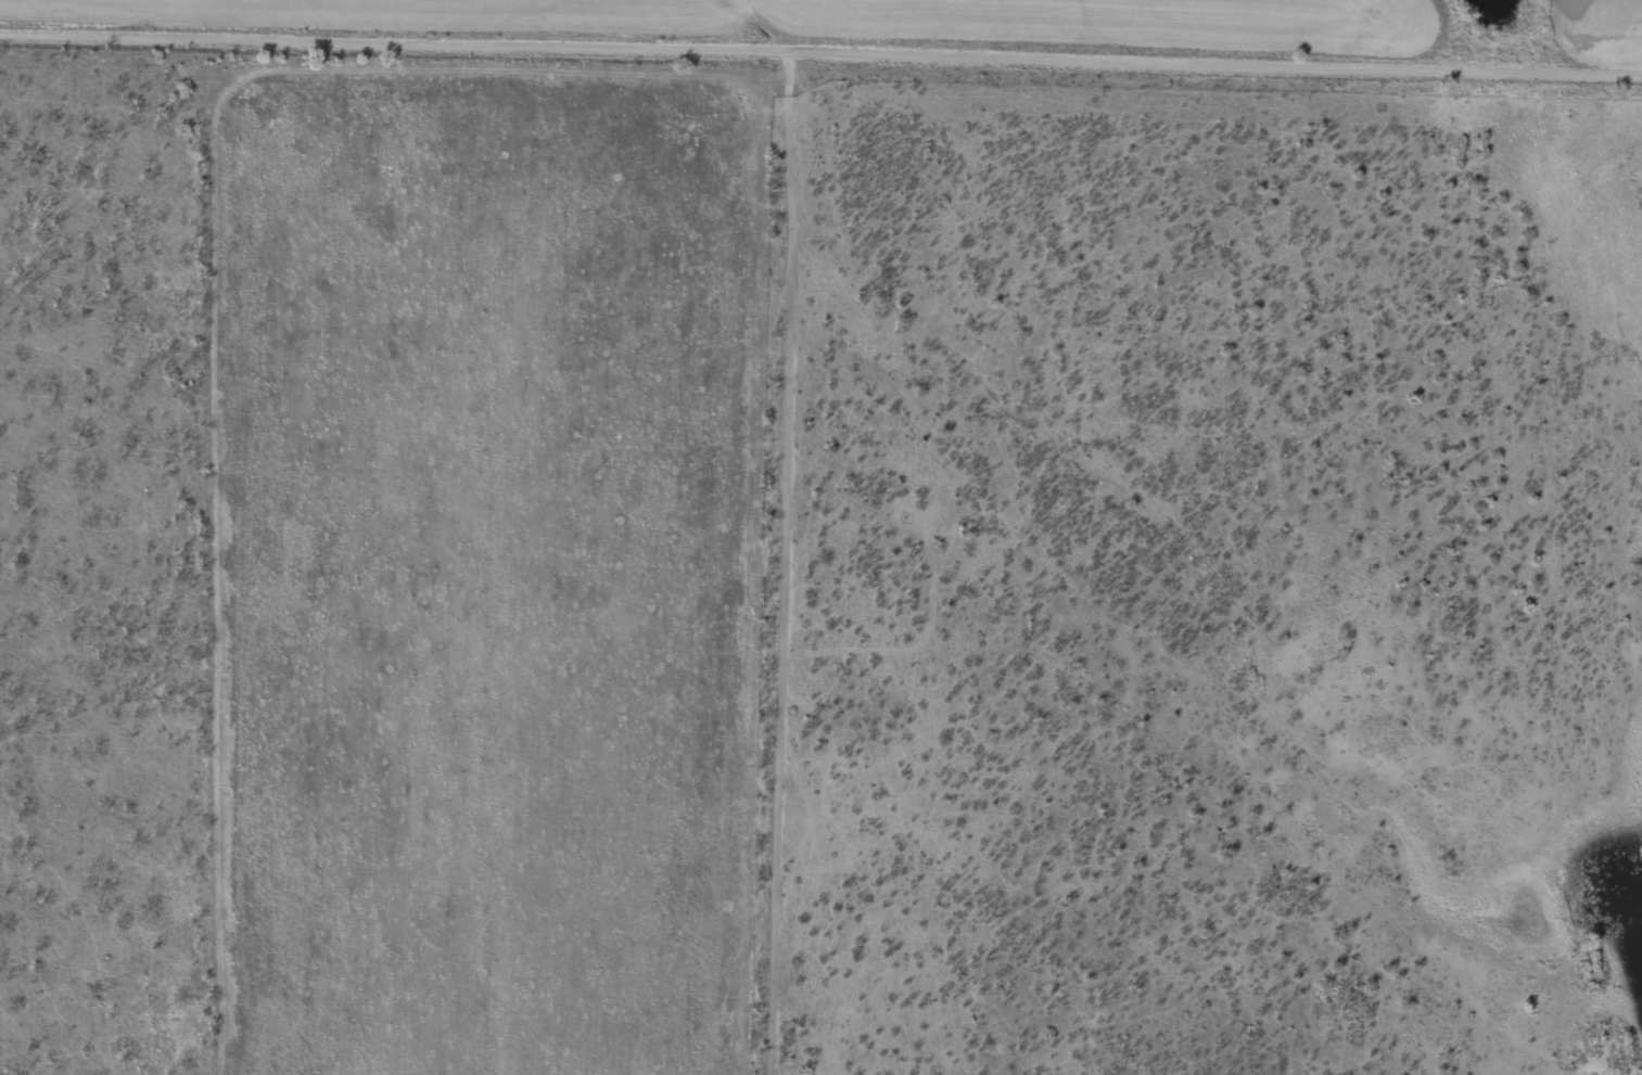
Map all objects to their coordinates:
road: (820, 50)
road: (763, 561)

